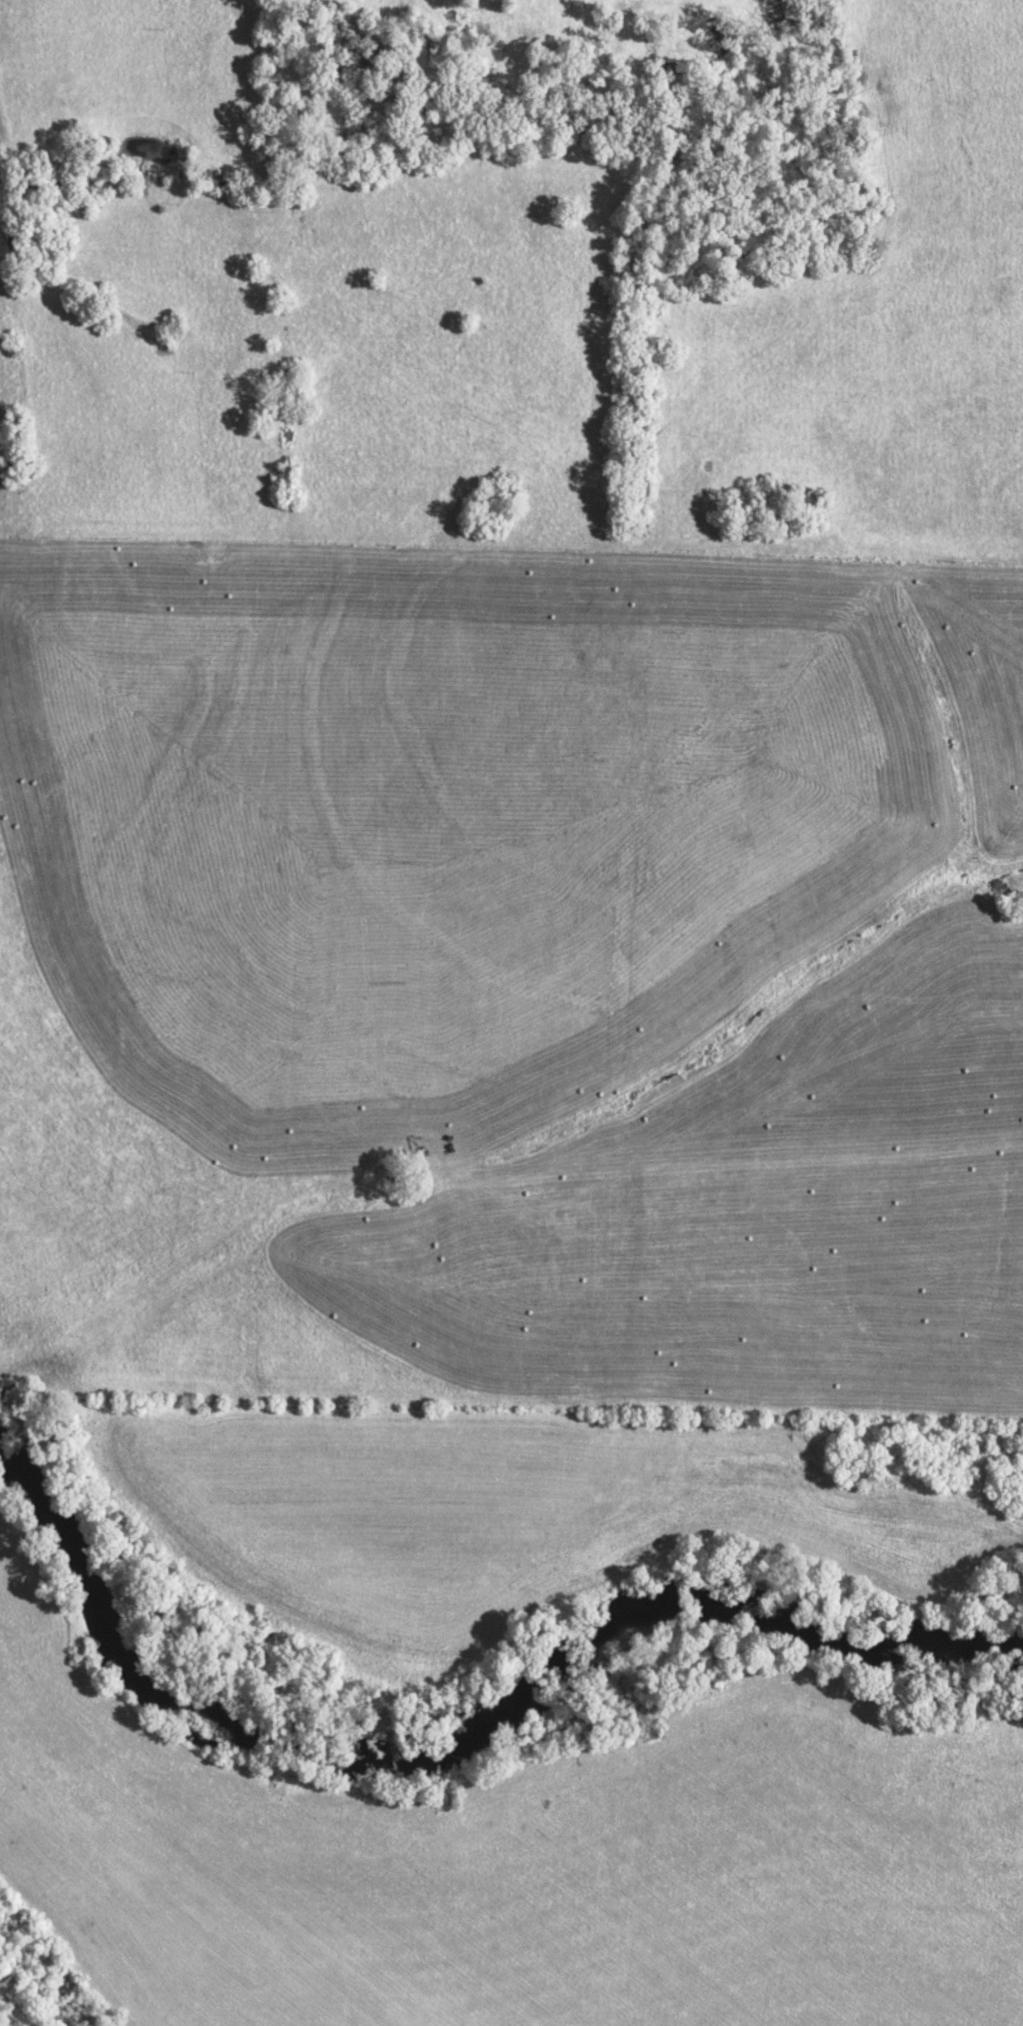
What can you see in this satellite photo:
river: (462, 1729)

